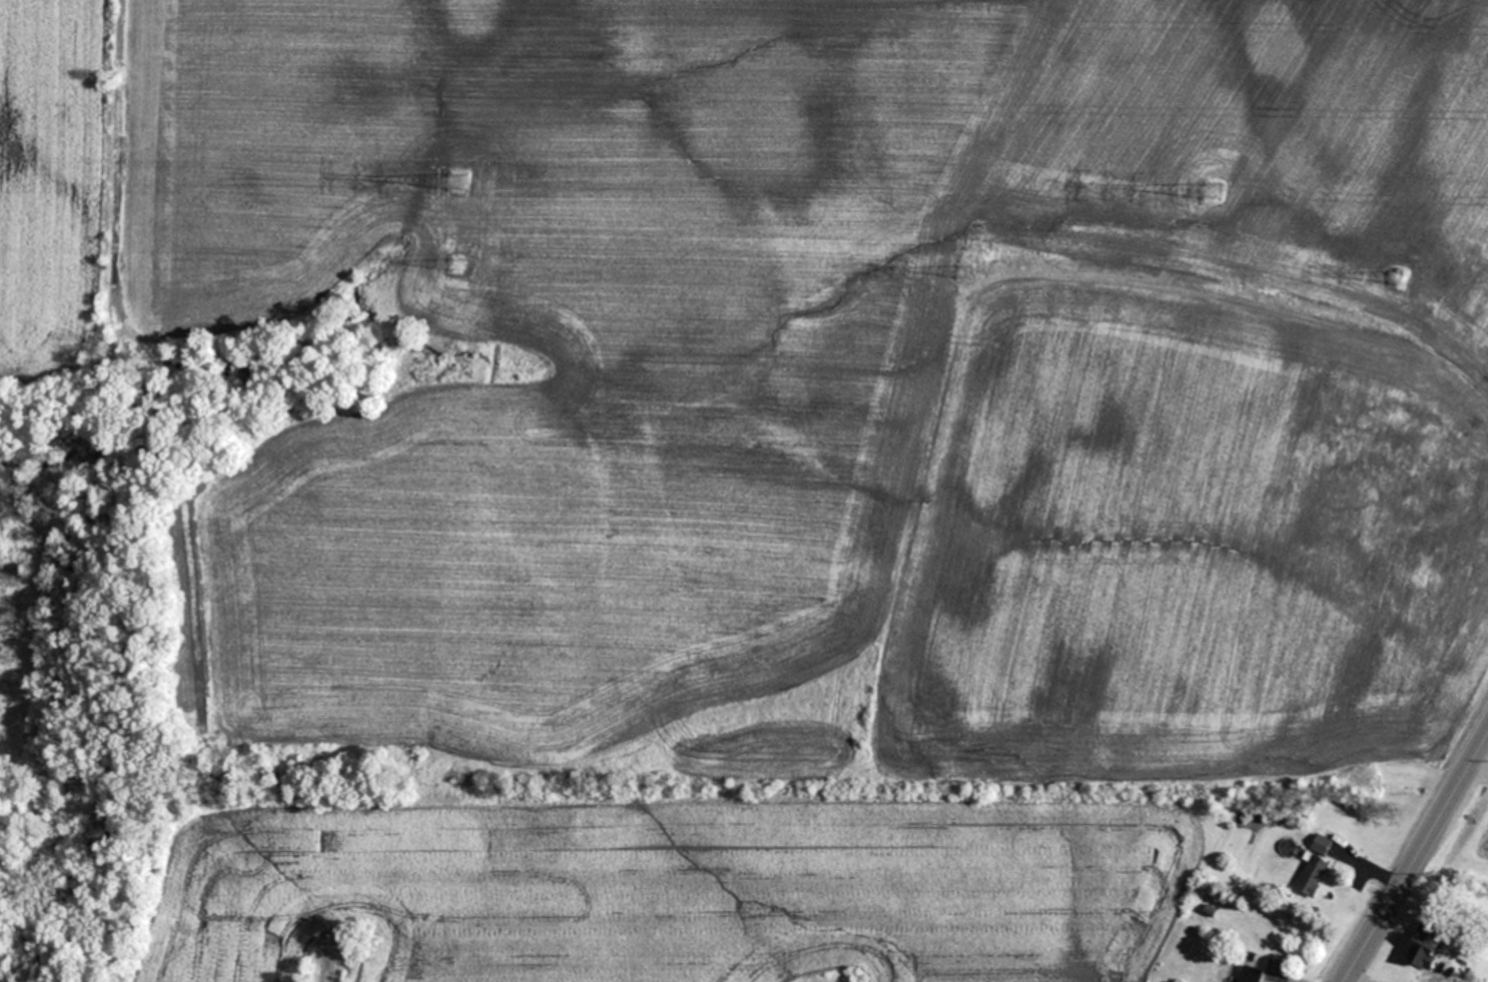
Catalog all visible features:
power tower: (458, 183)
power tower: (1213, 193)
crop: (56, 206)
power tower: (456, 263)
power tower: (970, 273)
power tower: (1397, 276)
road: (1479, 768)
building: (1322, 844)
road: (1415, 858)
building: (1313, 875)
building: (1426, 944)
building: (1251, 974)

